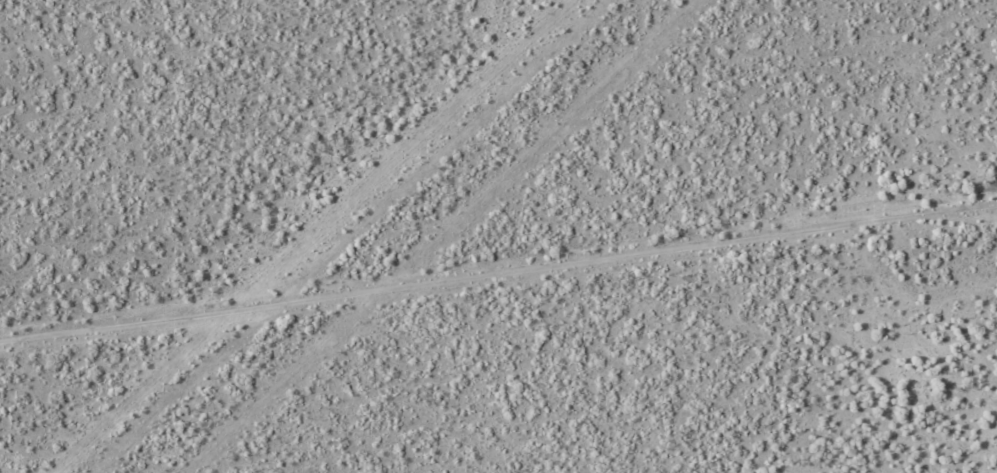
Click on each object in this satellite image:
road: (498, 299)

